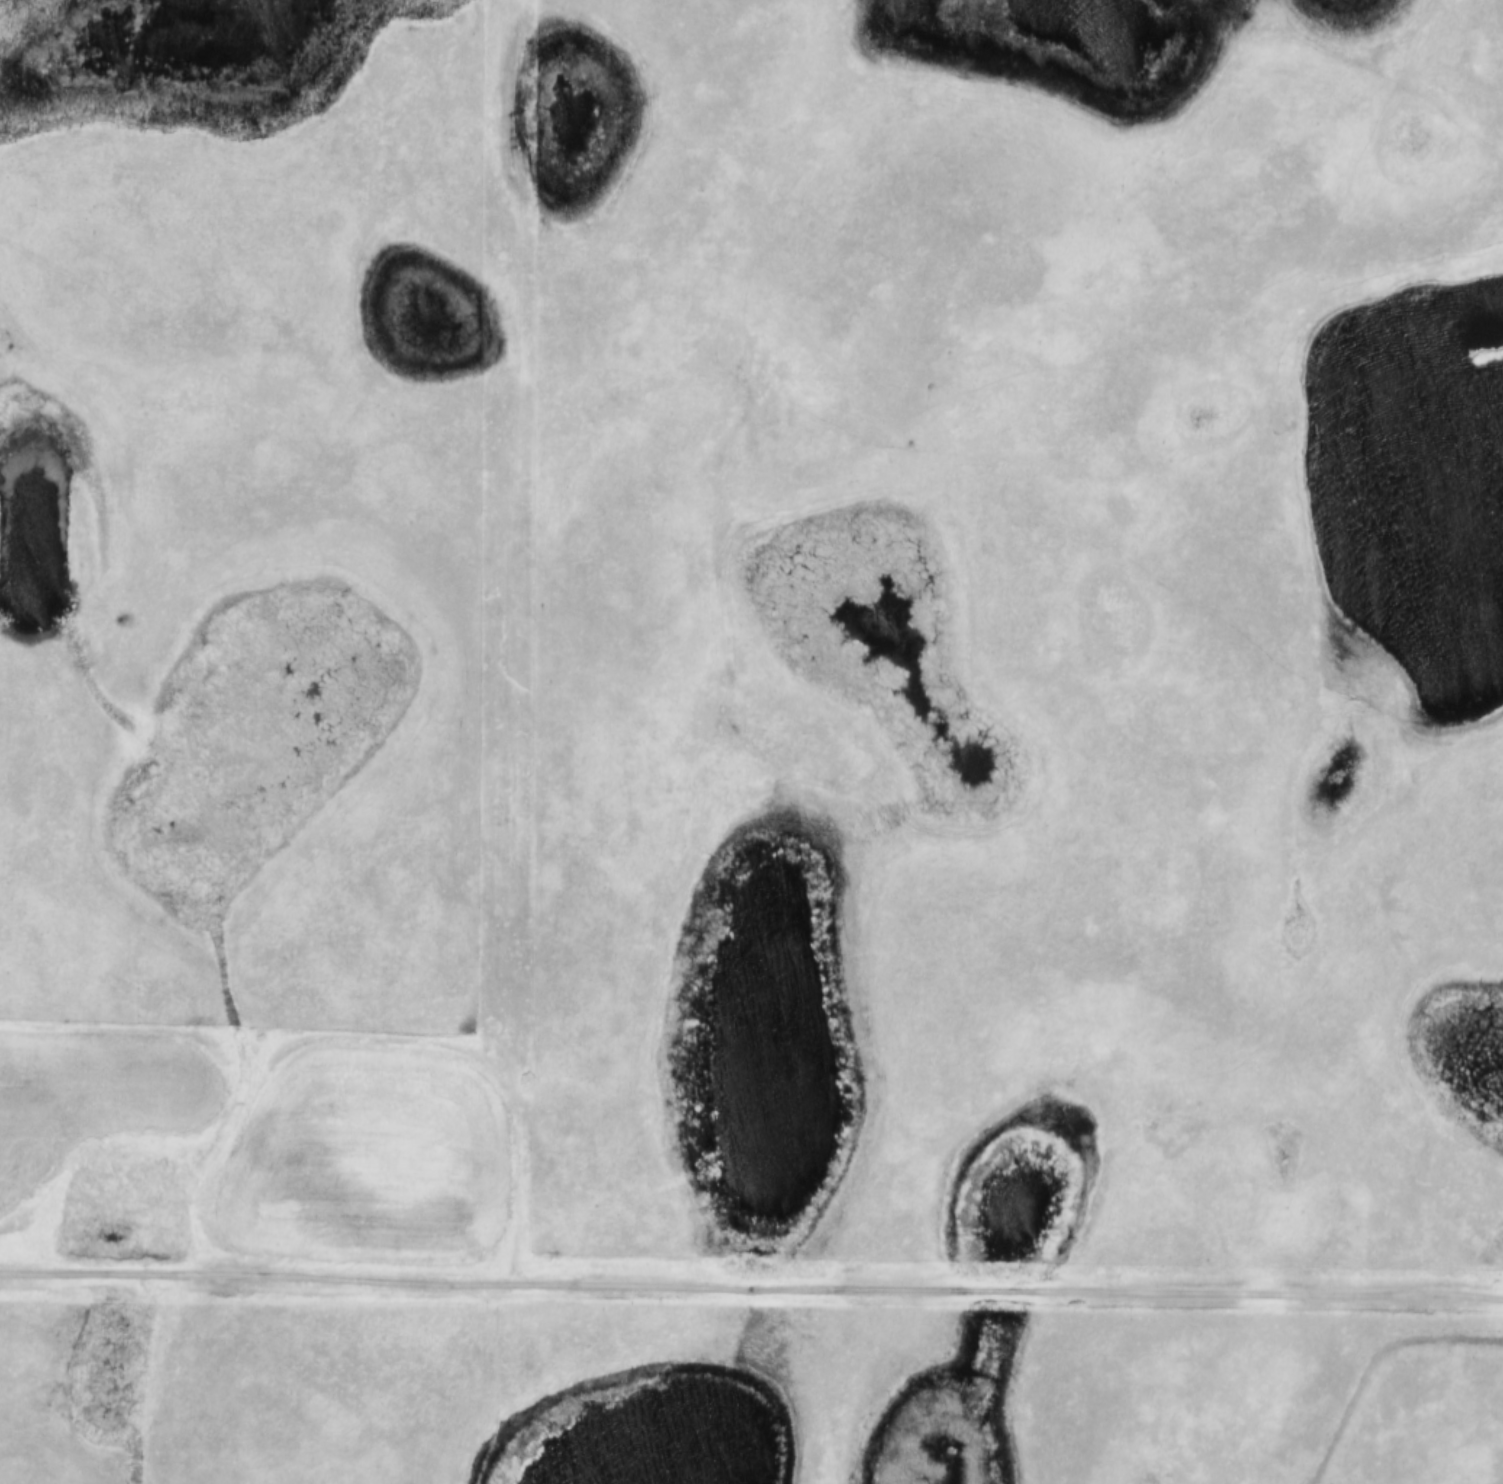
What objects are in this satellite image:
road: (751, 1290)

